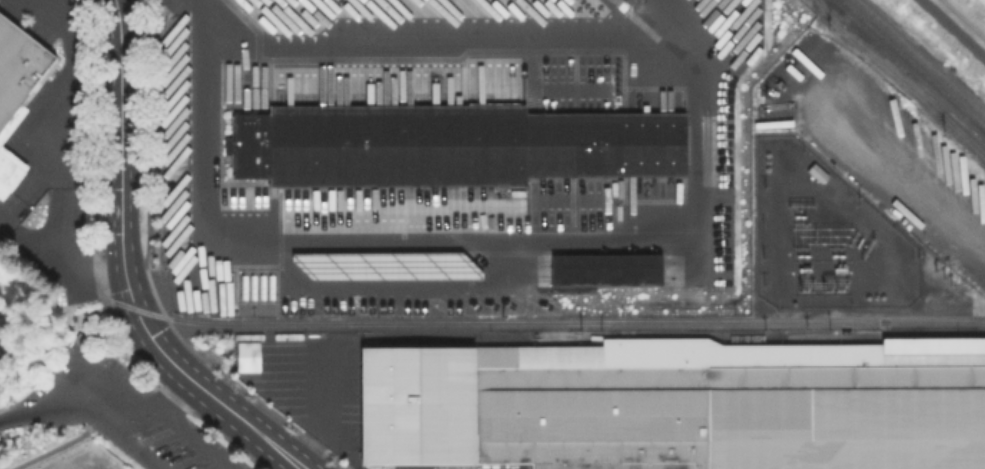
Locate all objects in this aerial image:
building: (982, 2)
railway: (954, 27)
railway: (920, 57)
building: (19, 63)
railway: (913, 64)
railway: (901, 67)
road: (900, 78)
road: (69, 92)
building: (452, 146)
building: (9, 171)
road: (199, 173)
road: (121, 201)
road: (64, 225)
road: (4, 227)
road: (565, 233)
power substation: (823, 237)
road: (64, 263)
building: (385, 265)
building: (605, 274)
building: (246, 356)
road: (112, 385)
road: (173, 396)
building: (678, 405)
pier: (4, 406)
road: (87, 415)
road: (133, 422)
road: (248, 425)
road: (194, 439)
road: (58, 446)
road: (503, 468)

